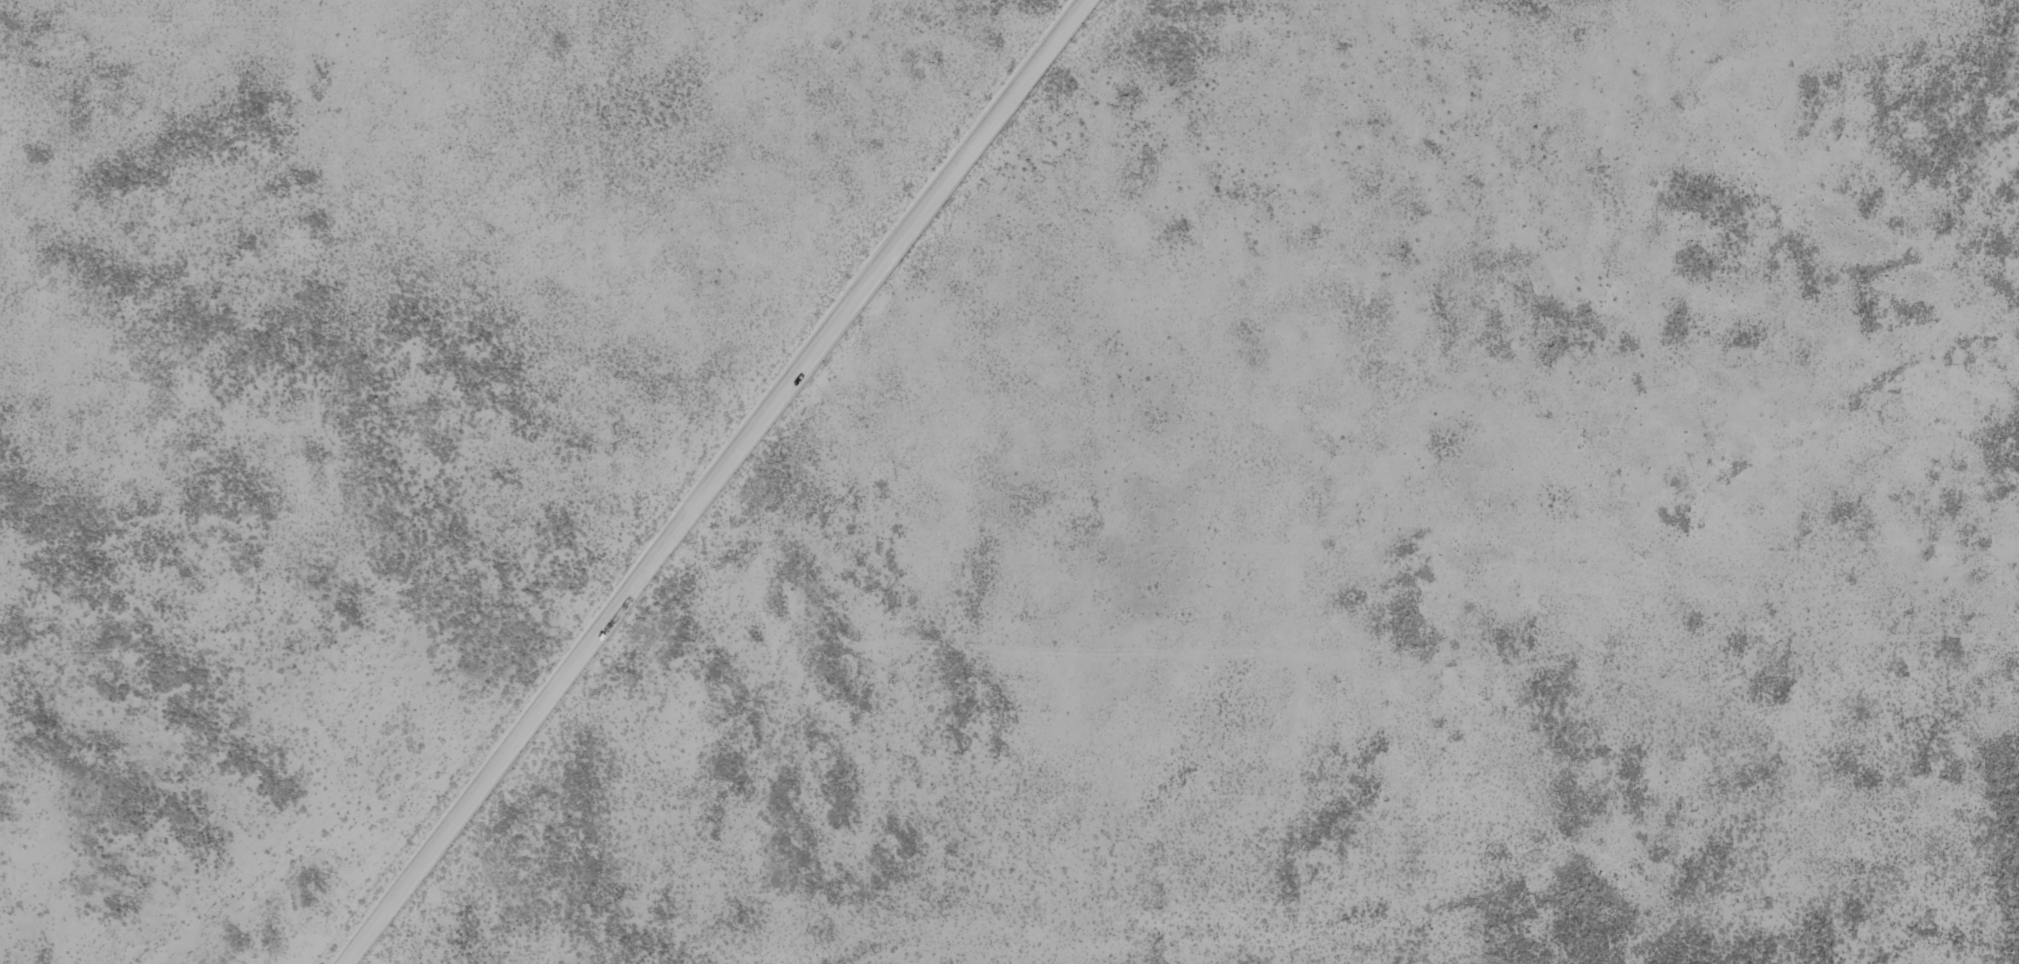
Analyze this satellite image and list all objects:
road: (698, 482)

